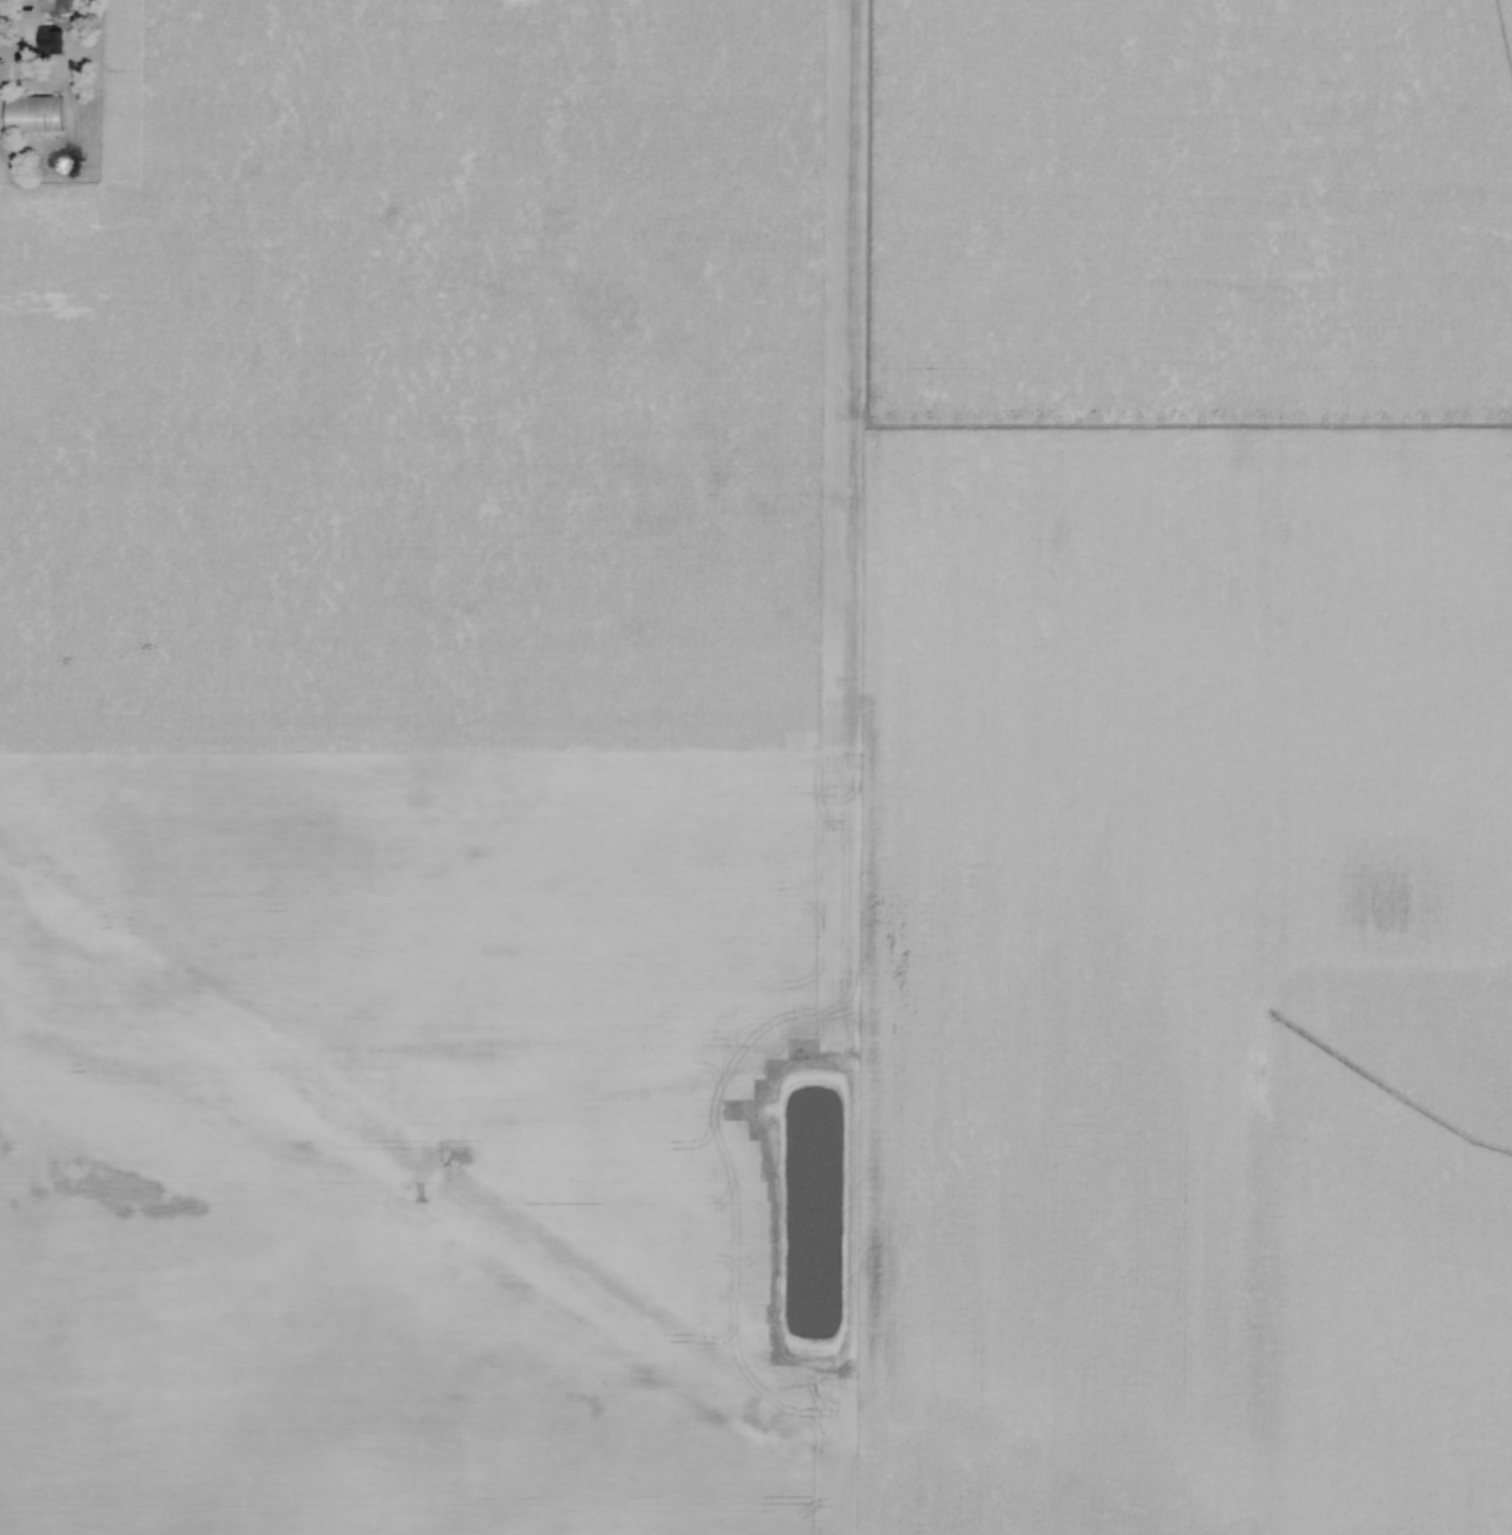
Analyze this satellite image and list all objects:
building: (49, 40)
building: (32, 113)
building: (52, 152)

